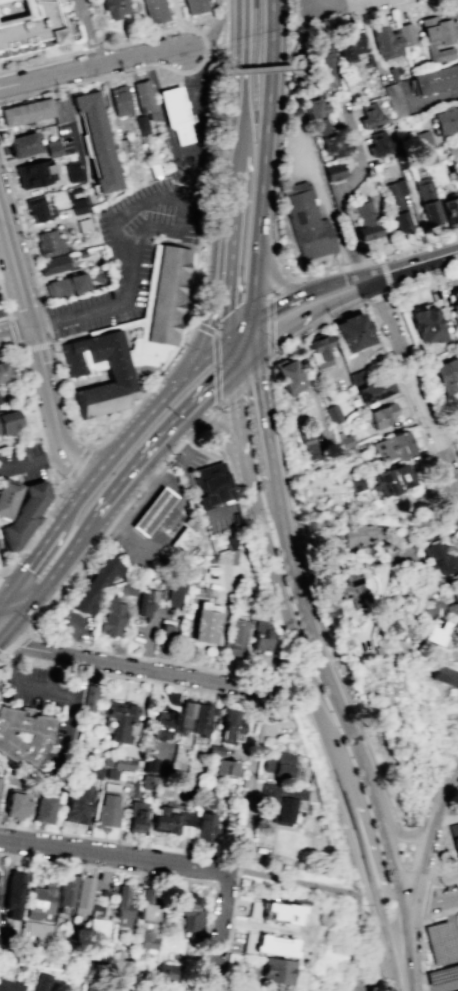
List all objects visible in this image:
building: (2, 0)
road: (312, 3)
road: (315, 3)
road: (338, 3)
building: (193, 6)
building: (114, 8)
building: (154, 10)
road: (178, 23)
building: (30, 28)
road: (184, 28)
road: (88, 31)
road: (212, 32)
road: (243, 32)
building: (406, 35)
building: (439, 36)
building: (384, 38)
road: (298, 41)
building: (349, 45)
road: (301, 57)
road: (211, 59)
building: (327, 61)
road: (90, 65)
road: (206, 67)
road: (252, 69)
flagpole: (166, 78)
building: (436, 79)
road: (62, 85)
road: (28, 93)
building: (143, 95)
building: (395, 100)
building: (120, 101)
road: (240, 104)
building: (315, 108)
building: (57, 110)
building: (25, 112)
building: (175, 112)
building: (370, 117)
building: (447, 120)
building: (141, 123)
road: (73, 127)
building: (320, 128)
parking lot: (64, 137)
building: (424, 141)
building: (96, 142)
building: (22, 145)
building: (379, 145)
building: (52, 147)
building: (333, 147)
building: (430, 158)
road: (266, 159)
parking lot: (302, 159)
building: (72, 170)
building: (335, 172)
building: (35, 173)
road: (10, 189)
road: (340, 191)
building: (429, 200)
road: (175, 201)
building: (398, 204)
building: (77, 205)
building: (36, 208)
road: (233, 210)
building: (450, 210)
road: (329, 216)
building: (364, 218)
building: (306, 228)
road: (22, 232)
road: (5, 241)
building: (48, 243)
road: (420, 248)
parking lot: (131, 252)
building: (53, 264)
road: (273, 269)
road: (408, 269)
road: (335, 271)
road: (387, 274)
traffic signals: (229, 276)
building: (96, 277)
road: (425, 278)
road: (35, 281)
road: (348, 283)
building: (65, 285)
building: (167, 295)
road: (380, 295)
road: (295, 296)
road: (344, 296)
road: (4, 300)
building: (454, 303)
road: (229, 308)
road: (112, 309)
road: (4, 317)
traffic signals: (255, 319)
road: (289, 323)
building: (425, 324)
road: (317, 326)
road: (41, 330)
road: (242, 330)
road: (12, 332)
building: (353, 332)
road: (255, 333)
road: (16, 336)
road: (202, 339)
traffic signals: (230, 341)
road: (37, 345)
road: (38, 347)
traffic signals: (256, 348)
building: (322, 348)
road: (270, 350)
building: (144, 351)
road: (231, 357)
road: (59, 360)
road: (244, 360)
road: (24, 367)
road: (197, 368)
building: (4, 371)
building: (445, 371)
building: (117, 373)
road: (215, 373)
traffic signals: (232, 373)
building: (359, 376)
road: (424, 376)
building: (289, 377)
road: (415, 387)
building: (374, 390)
traffic signals: (165, 396)
road: (205, 399)
road: (410, 408)
road: (237, 411)
road: (129, 413)
building: (333, 413)
building: (382, 415)
road: (86, 419)
building: (7, 421)
road: (215, 424)
road: (92, 425)
road: (446, 430)
road: (268, 433)
road: (193, 434)
road: (126, 436)
building: (0, 439)
building: (345, 442)
building: (308, 444)
building: (392, 445)
building: (347, 454)
road: (32, 459)
road: (149, 460)
road: (79, 462)
parking lot: (25, 463)
building: (392, 479)
road: (55, 483)
building: (356, 483)
building: (212, 485)
road: (64, 491)
road: (74, 501)
road: (111, 505)
building: (21, 511)
building: (151, 511)
road: (455, 522)
building: (357, 534)
building: (183, 540)
road: (401, 551)
building: (441, 557)
road: (34, 560)
road: (69, 561)
road: (1, 571)
road: (1, 573)
road: (5, 579)
building: (95, 586)
building: (343, 592)
building: (174, 596)
road: (6, 598)
traffic signals: (12, 598)
building: (430, 599)
road: (375, 601)
road: (22, 602)
building: (142, 605)
traffic signals: (32, 606)
road: (6, 614)
building: (112, 617)
road: (16, 618)
building: (205, 622)
road: (220, 623)
parking lot: (72, 624)
building: (399, 627)
traffic signals: (0, 630)
road: (29, 632)
building: (164, 634)
building: (440, 634)
building: (259, 636)
building: (236, 638)
road: (17, 643)
road: (25, 645)
road: (0, 654)
road: (323, 655)
building: (259, 660)
road: (51, 672)
road: (165, 672)
building: (446, 676)
road: (132, 677)
building: (89, 698)
road: (313, 699)
road: (72, 706)
building: (185, 715)
building: (200, 719)
building: (119, 720)
building: (229, 721)
building: (164, 724)
building: (37, 737)
building: (215, 750)
building: (117, 762)
building: (149, 764)
building: (278, 764)
building: (225, 767)
building: (93, 771)
building: (0, 780)
building: (149, 782)
road: (251, 783)
road: (448, 788)
building: (134, 789)
building: (208, 801)
building: (280, 801)
building: (77, 803)
building: (15, 806)
building: (43, 809)
building: (107, 810)
road: (443, 810)
building: (136, 816)
building: (185, 818)
road: (424, 818)
building: (165, 819)
building: (205, 825)
building: (454, 837)
road: (436, 845)
road: (173, 848)
road: (114, 855)
road: (391, 861)
road: (378, 866)
railway: (416, 866)
road: (422, 868)
road: (136, 872)
road: (308, 883)
building: (66, 890)
building: (13, 894)
building: (82, 895)
road: (426, 899)
road: (433, 899)
building: (40, 903)
building: (146, 905)
building: (122, 907)
building: (279, 913)
building: (187, 914)
road: (452, 923)
road: (220, 924)
building: (35, 930)
road: (421, 936)
building: (95, 939)
building: (148, 939)
building: (3, 941)
parking lot: (443, 941)
building: (274, 945)
road: (410, 960)
building: (122, 964)
road: (378, 968)
road: (392, 969)
building: (278, 970)
building: (166, 972)
parking lot: (443, 979)
road: (378, 980)
building: (42, 981)
road: (382, 981)
parking lot: (361, 983)
road: (208, 984)
road: (219, 984)
building: (10, 985)
building: (93, 988)
building: (242, 988)
road: (448, 988)
park: (380, 989)
building: (264, 990)

